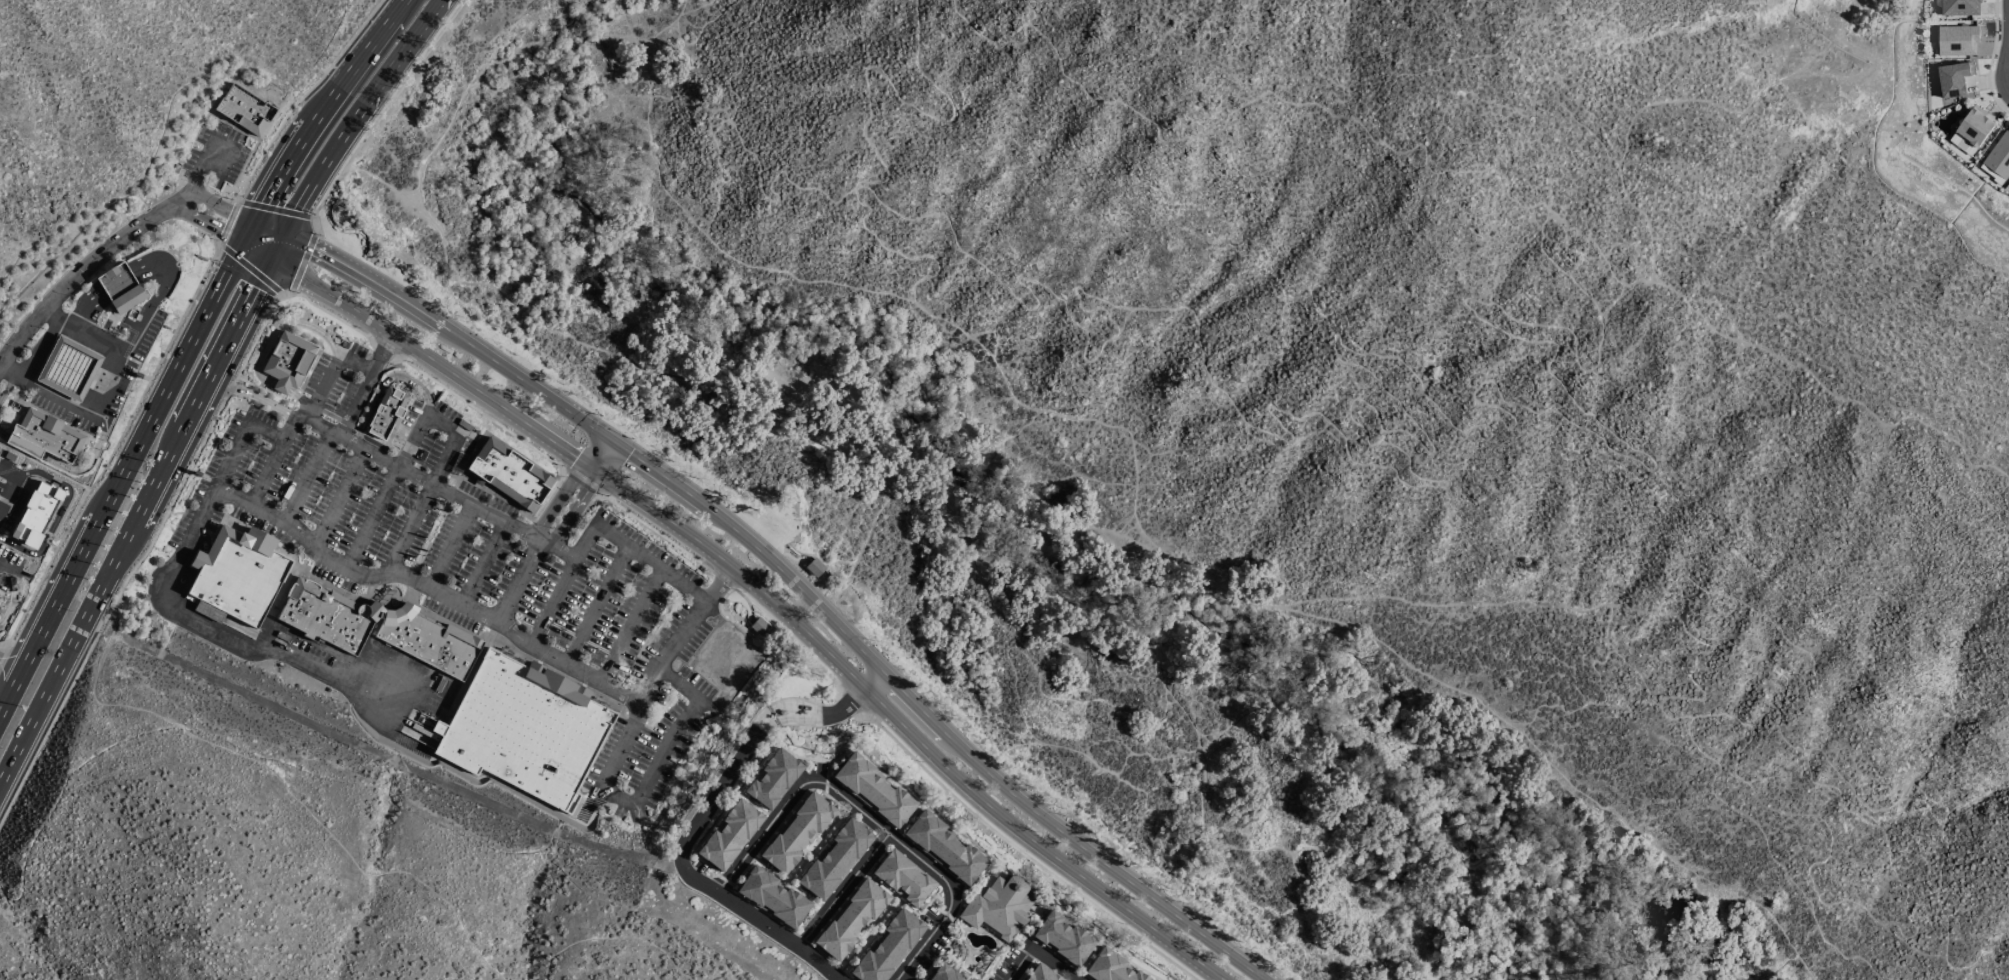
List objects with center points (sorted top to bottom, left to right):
building: (1957, 7)
road: (1531, 10)
road: (689, 37)
building: (1956, 40)
road: (501, 63)
building: (1953, 78)
road: (303, 95)
road: (898, 102)
road: (1740, 111)
building: (244, 112)
road: (354, 112)
road: (381, 112)
road: (1134, 113)
road: (1375, 142)
road: (1604, 148)
building: (1999, 155)
road: (718, 165)
road: (201, 170)
road: (219, 205)
road: (274, 207)
traffic signals: (254, 219)
road: (225, 222)
road: (209, 226)
traffic signals: (281, 233)
traffic signals: (244, 242)
road: (892, 254)
traffic signals: (269, 258)
road: (299, 260)
road: (247, 269)
road: (81, 270)
building: (120, 288)
road: (327, 313)
road: (1533, 326)
road: (81, 330)
road: (257, 335)
road: (265, 345)
road: (1200, 346)
road: (42, 348)
road: (190, 348)
road: (1346, 348)
road: (385, 349)
road: (380, 350)
building: (286, 361)
road: (356, 362)
building: (69, 368)
road: (11, 370)
road: (386, 380)
road: (7, 385)
road: (322, 387)
road: (229, 390)
road: (242, 390)
gas station: (66, 391)
road: (356, 403)
road: (479, 412)
building: (386, 413)
road: (769, 418)
road: (439, 426)
road: (266, 428)
building: (44, 437)
traffic signals: (605, 438)
road: (114, 445)
traffic signals: (620, 449)
road: (94, 452)
road: (272, 459)
traffic signals: (586, 463)
fountain: (458, 464)
traffic signals: (601, 474)
building: (509, 475)
road: (305, 476)
road: (418, 478)
road: (580, 481)
road: (569, 486)
road: (215, 487)
road: (59, 488)
road: (385, 492)
road: (339, 496)
road: (584, 496)
building: (32, 501)
road: (139, 505)
road: (420, 506)
road: (1129, 511)
road: (163, 518)
road: (657, 534)
road: (25, 542)
road: (449, 547)
parking lot: (471, 561)
road: (650, 561)
road: (485, 563)
building: (813, 567)
road: (7, 570)
road: (780, 570)
building: (238, 574)
road: (521, 580)
road: (723, 581)
road: (561, 583)
road: (719, 583)
road: (753, 585)
road: (428, 587)
road: (13, 602)
fountain: (393, 602)
road: (597, 605)
road: (1677, 610)
building: (326, 615)
road: (631, 626)
building: (757, 626)
building: (245, 629)
road: (785, 630)
building: (427, 640)
road: (4, 649)
road: (255, 649)
road: (10, 664)
road: (680, 685)
road: (646, 689)
road: (850, 701)
building: (781, 712)
road: (835, 715)
road: (1192, 723)
road: (48, 728)
building: (523, 728)
park: (801, 752)
road: (655, 764)
building: (772, 779)
building: (871, 790)
road: (291, 796)
road: (867, 817)
building: (795, 833)
building: (728, 835)
building: (942, 847)
road: (1024, 854)
building: (833, 858)
road: (1429, 859)
road: (685, 872)
building: (902, 877)
road: (843, 889)
building: (771, 896)
building: (997, 907)
road: (1873, 914)
building: (849, 919)
road: (1353, 932)
road: (613, 937)
building: (1061, 938)
building: (887, 947)
park: (945, 955)
road: (1017, 964)
road: (1049, 964)
building: (1110, 968)
park: (962, 970)
road: (1716, 970)
building: (943, 974)
building: (1040, 974)

